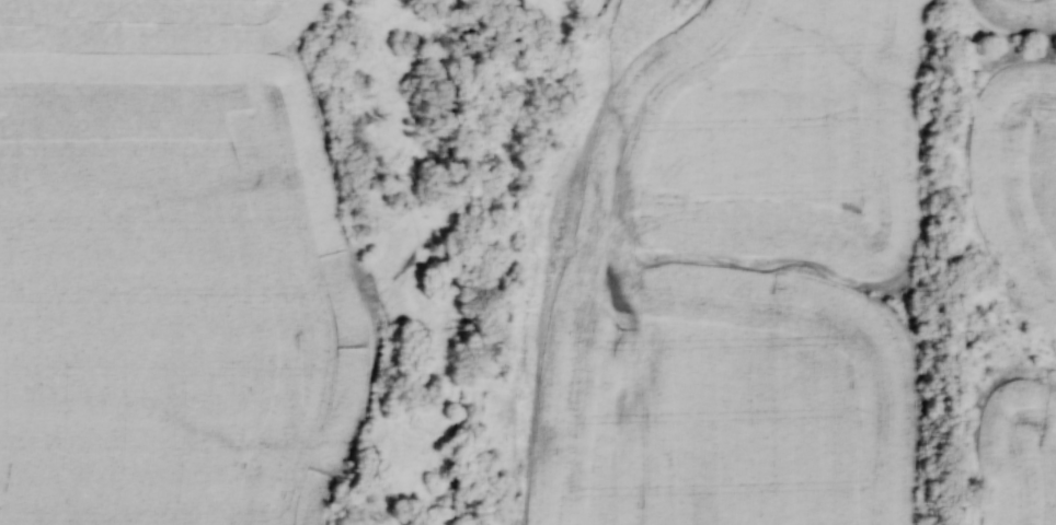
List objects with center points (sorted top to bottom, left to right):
power tower: (620, 322)

